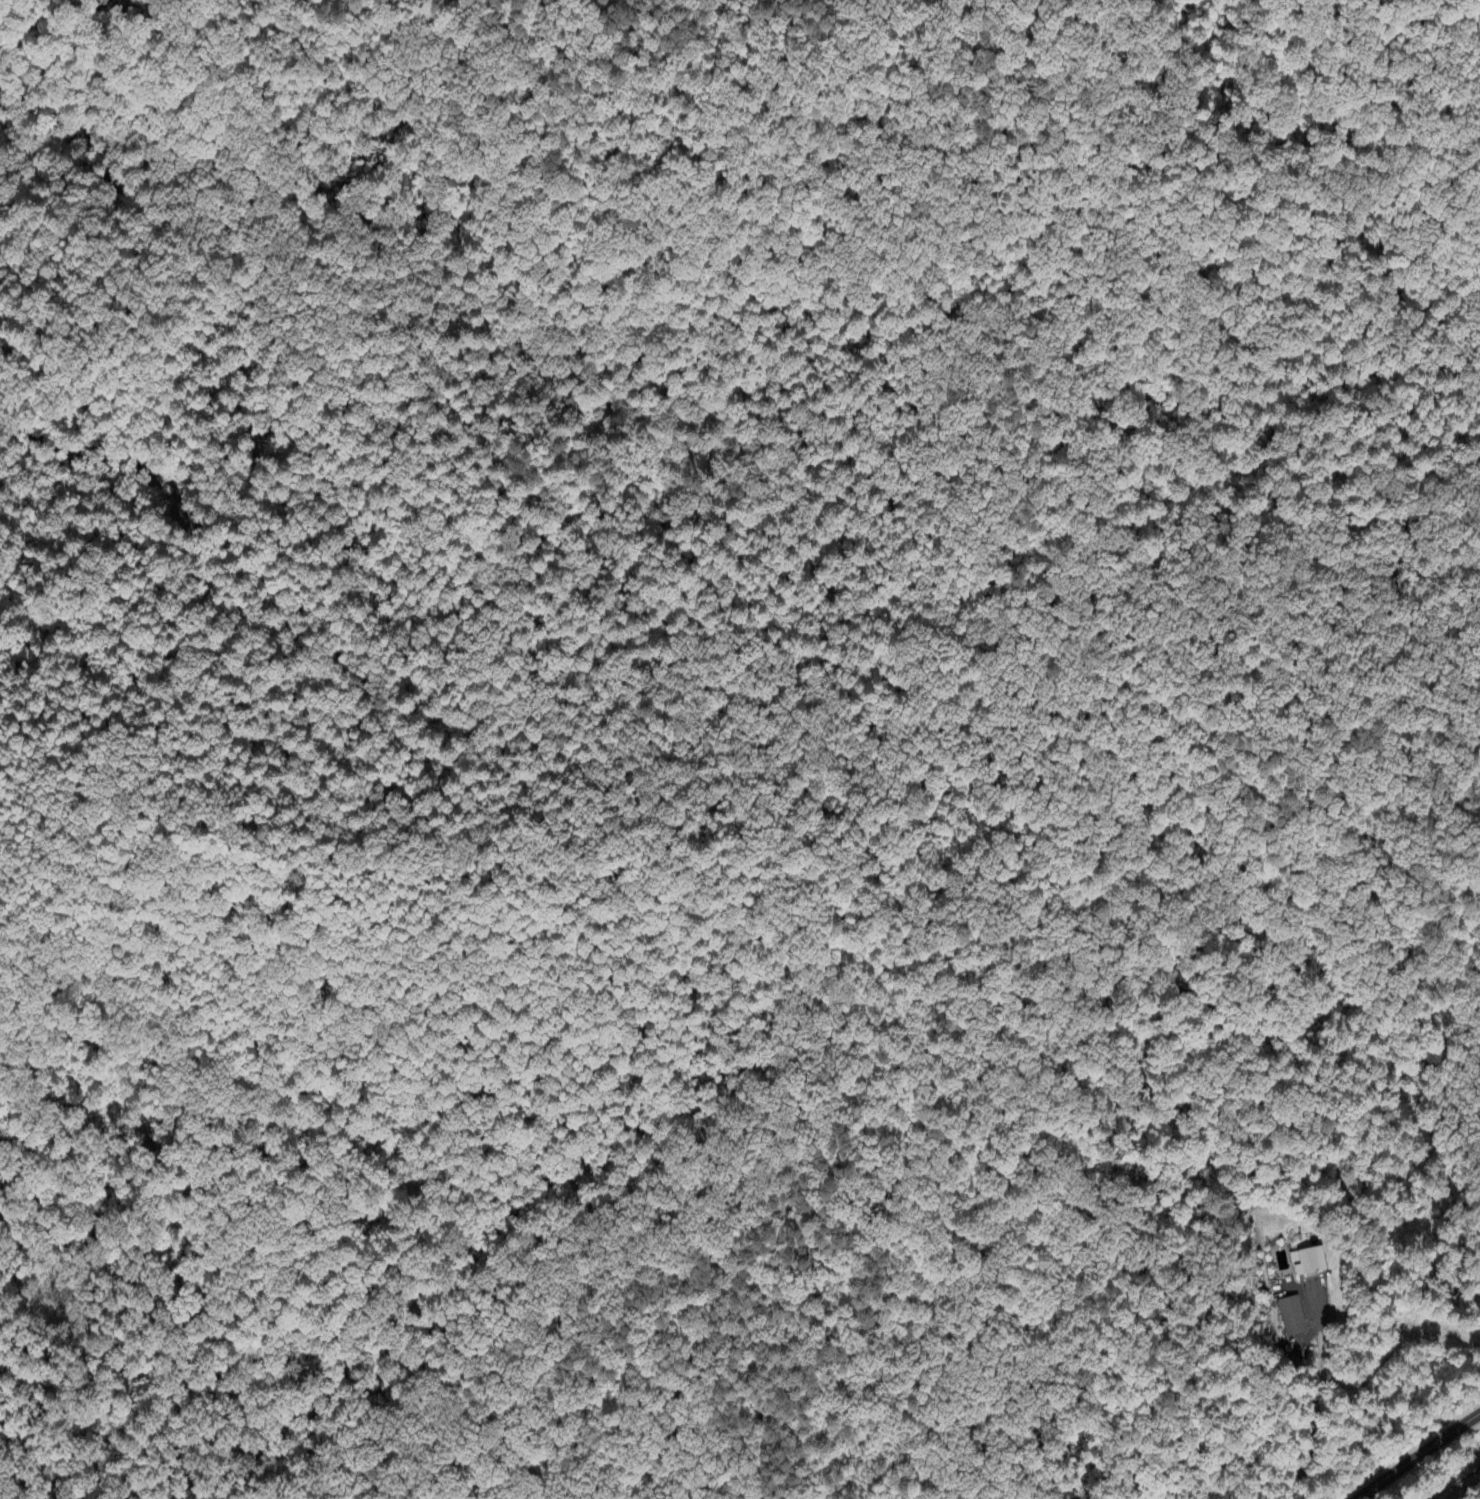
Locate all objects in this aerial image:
building: (1312, 1262)
building: (1291, 1318)
road: (1318, 1402)
road: (1414, 1459)

